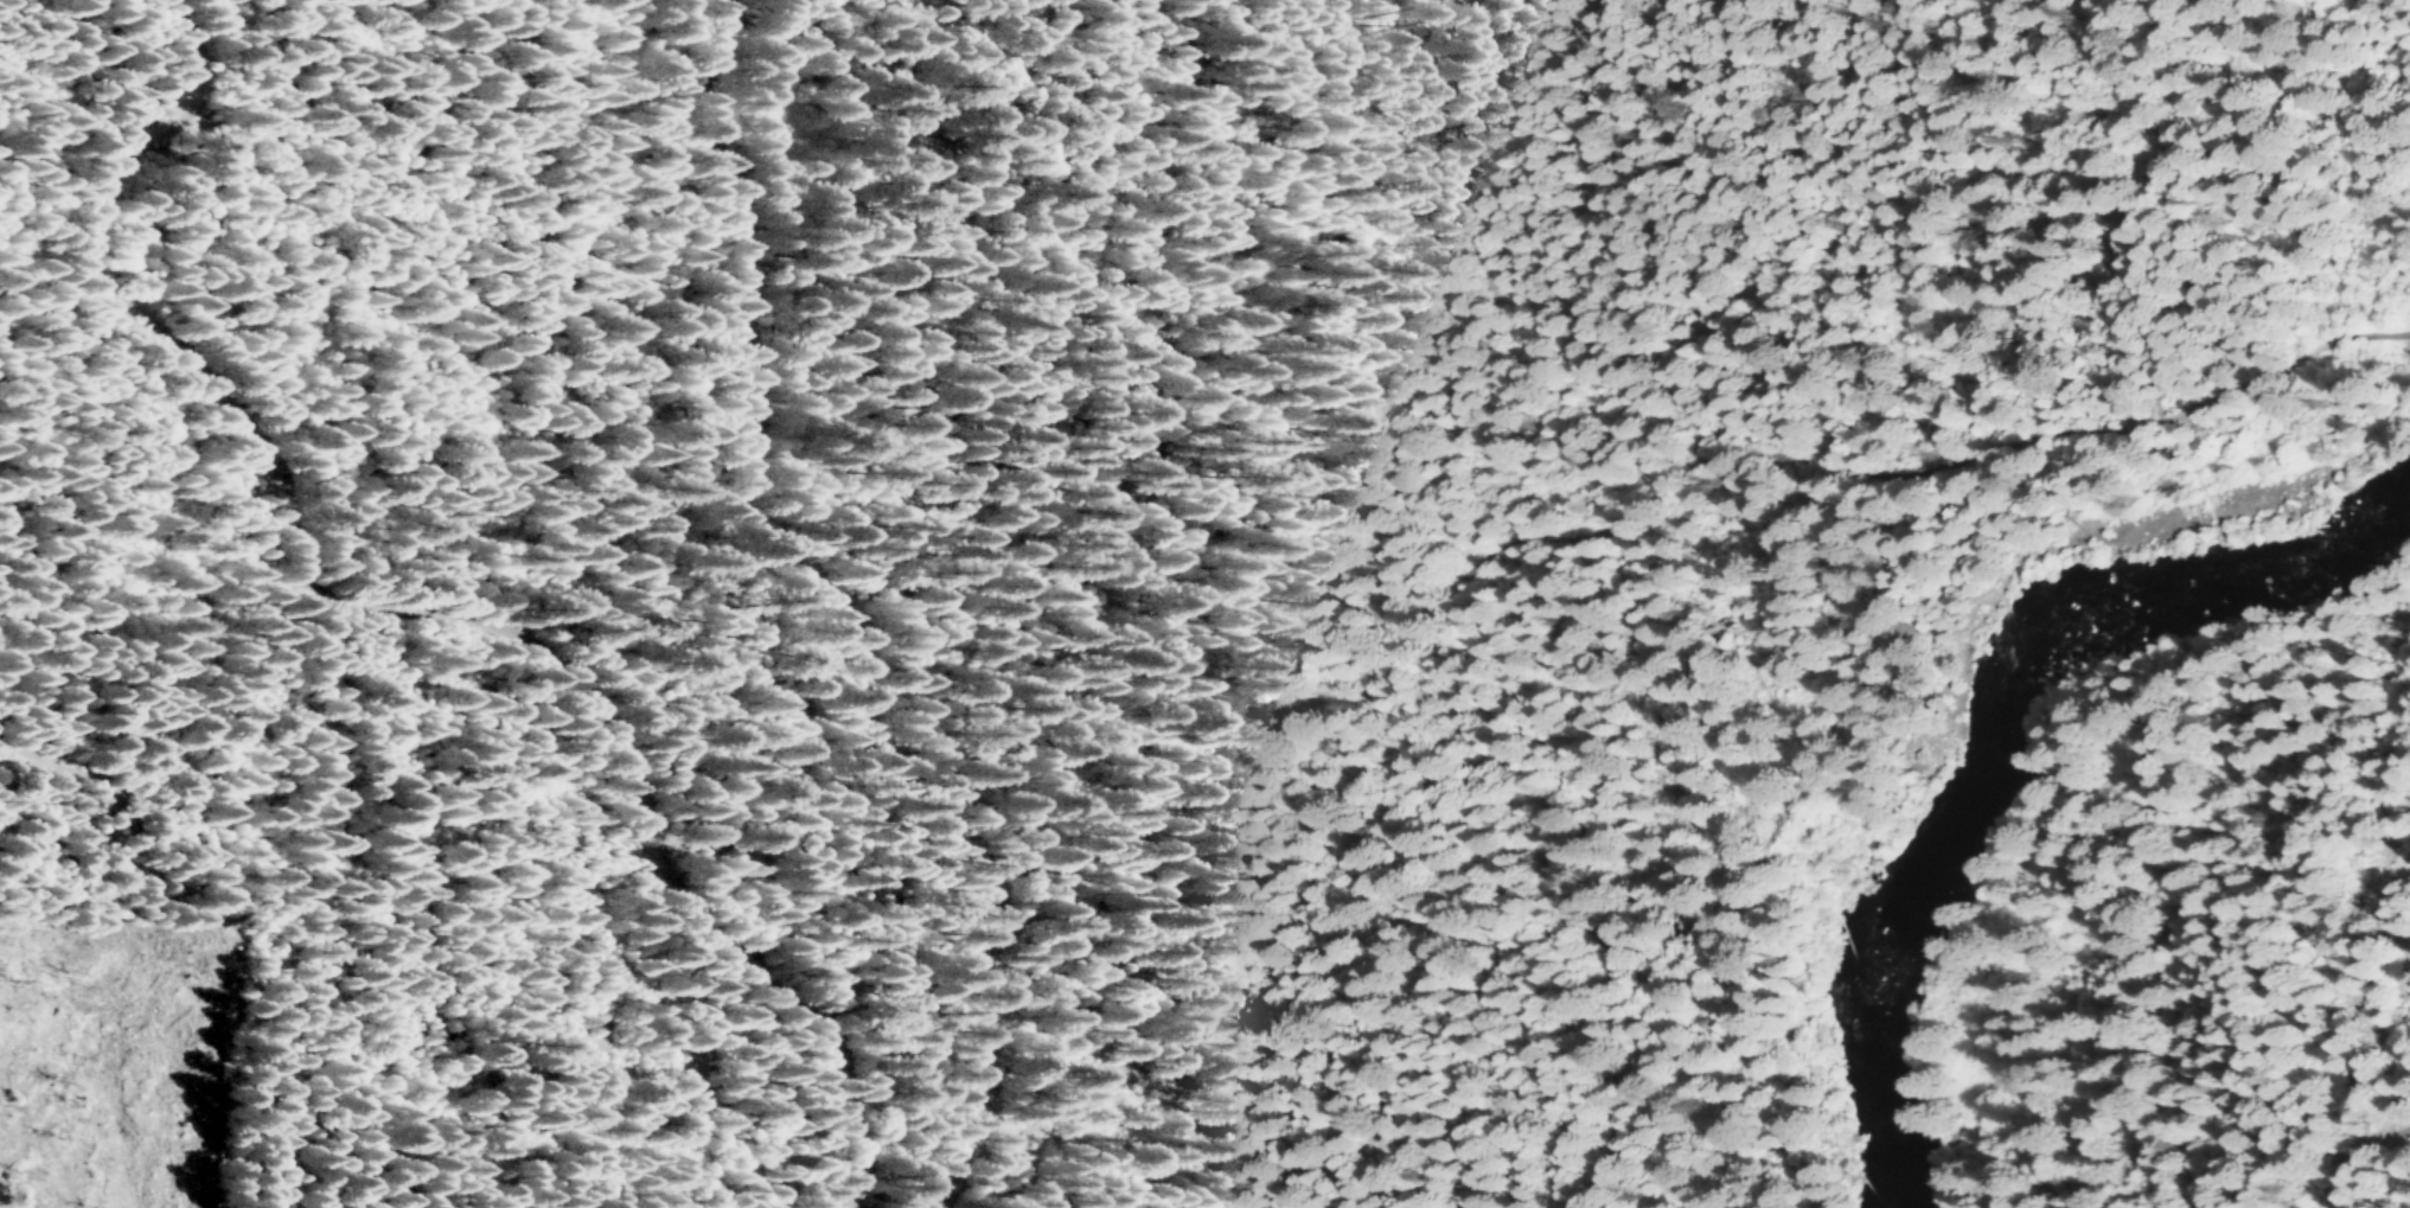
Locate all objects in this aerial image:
road: (836, 601)
road: (399, 609)
river: (1994, 722)

